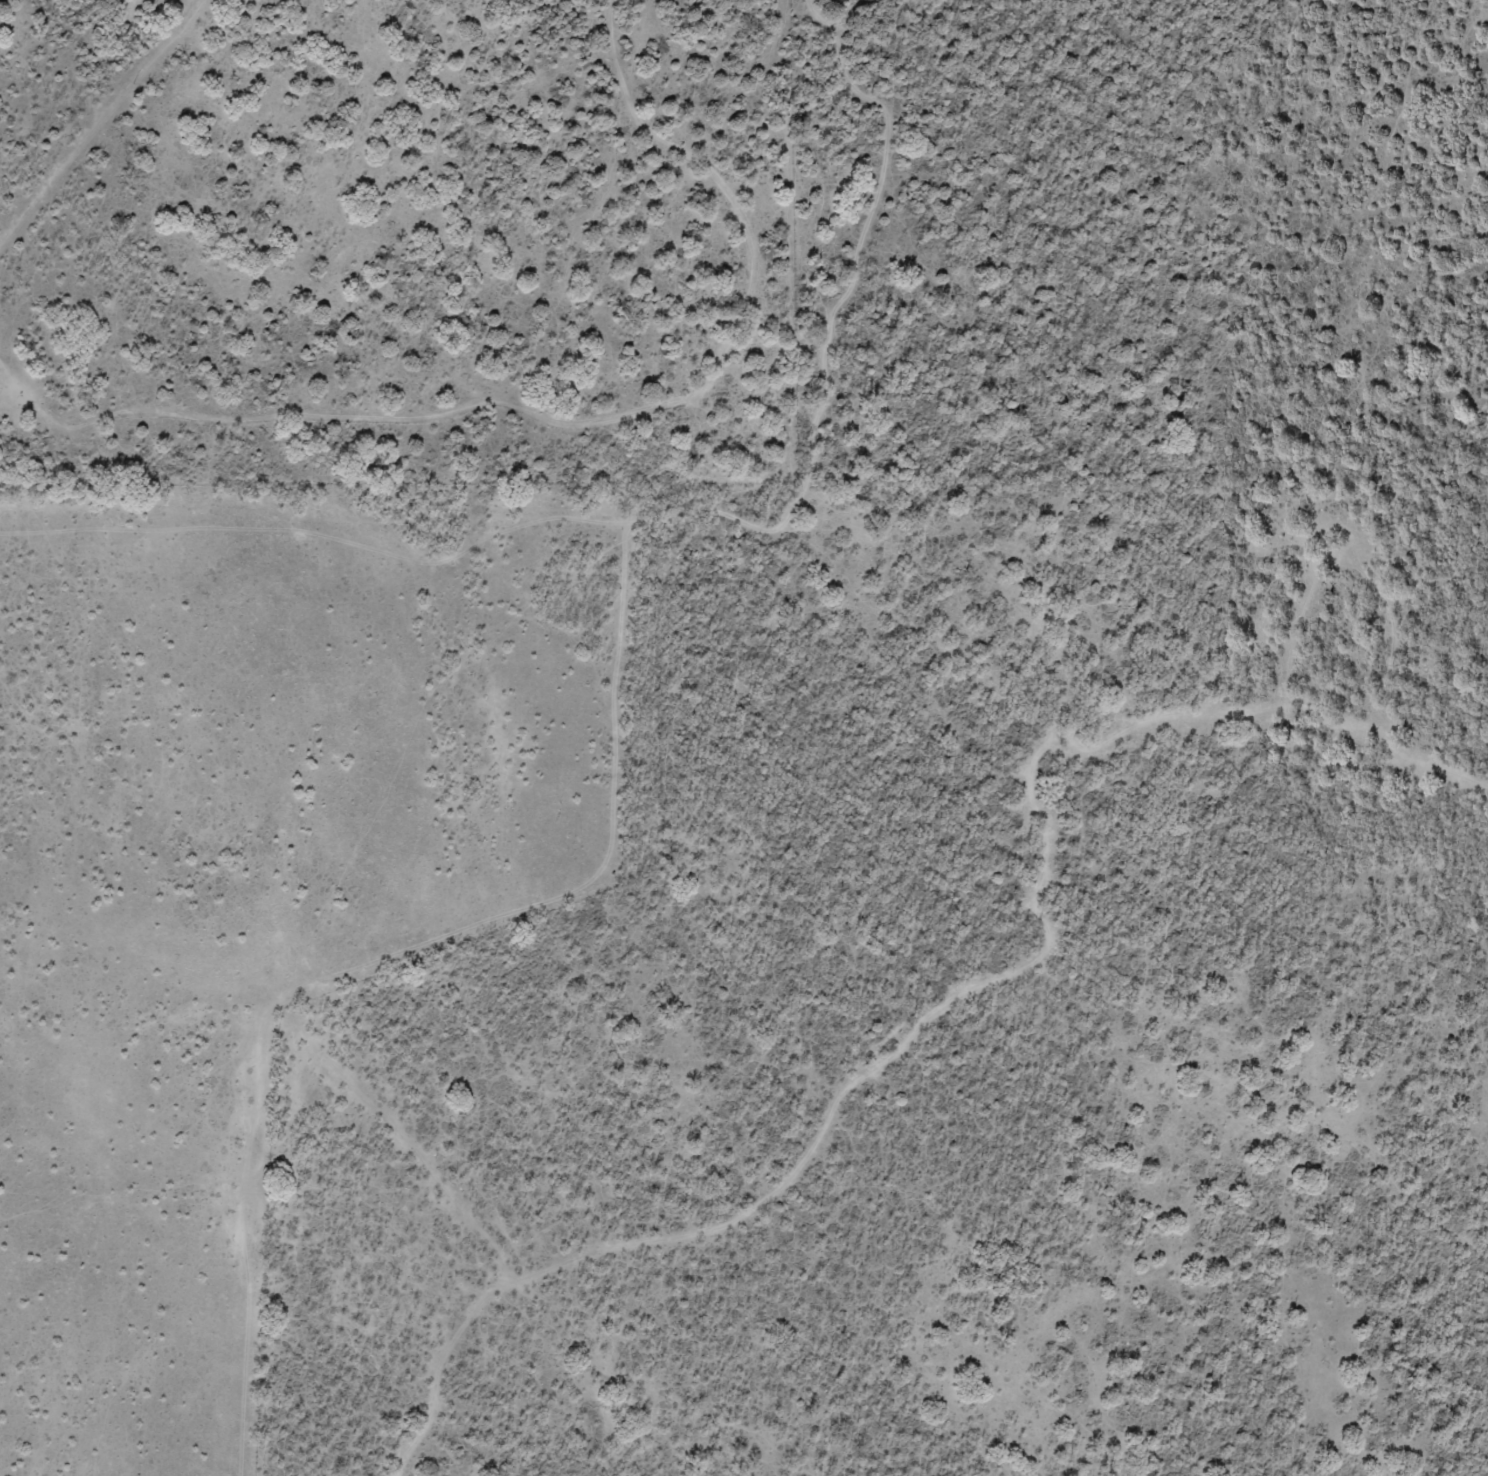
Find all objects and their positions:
road: (808, 1192)

